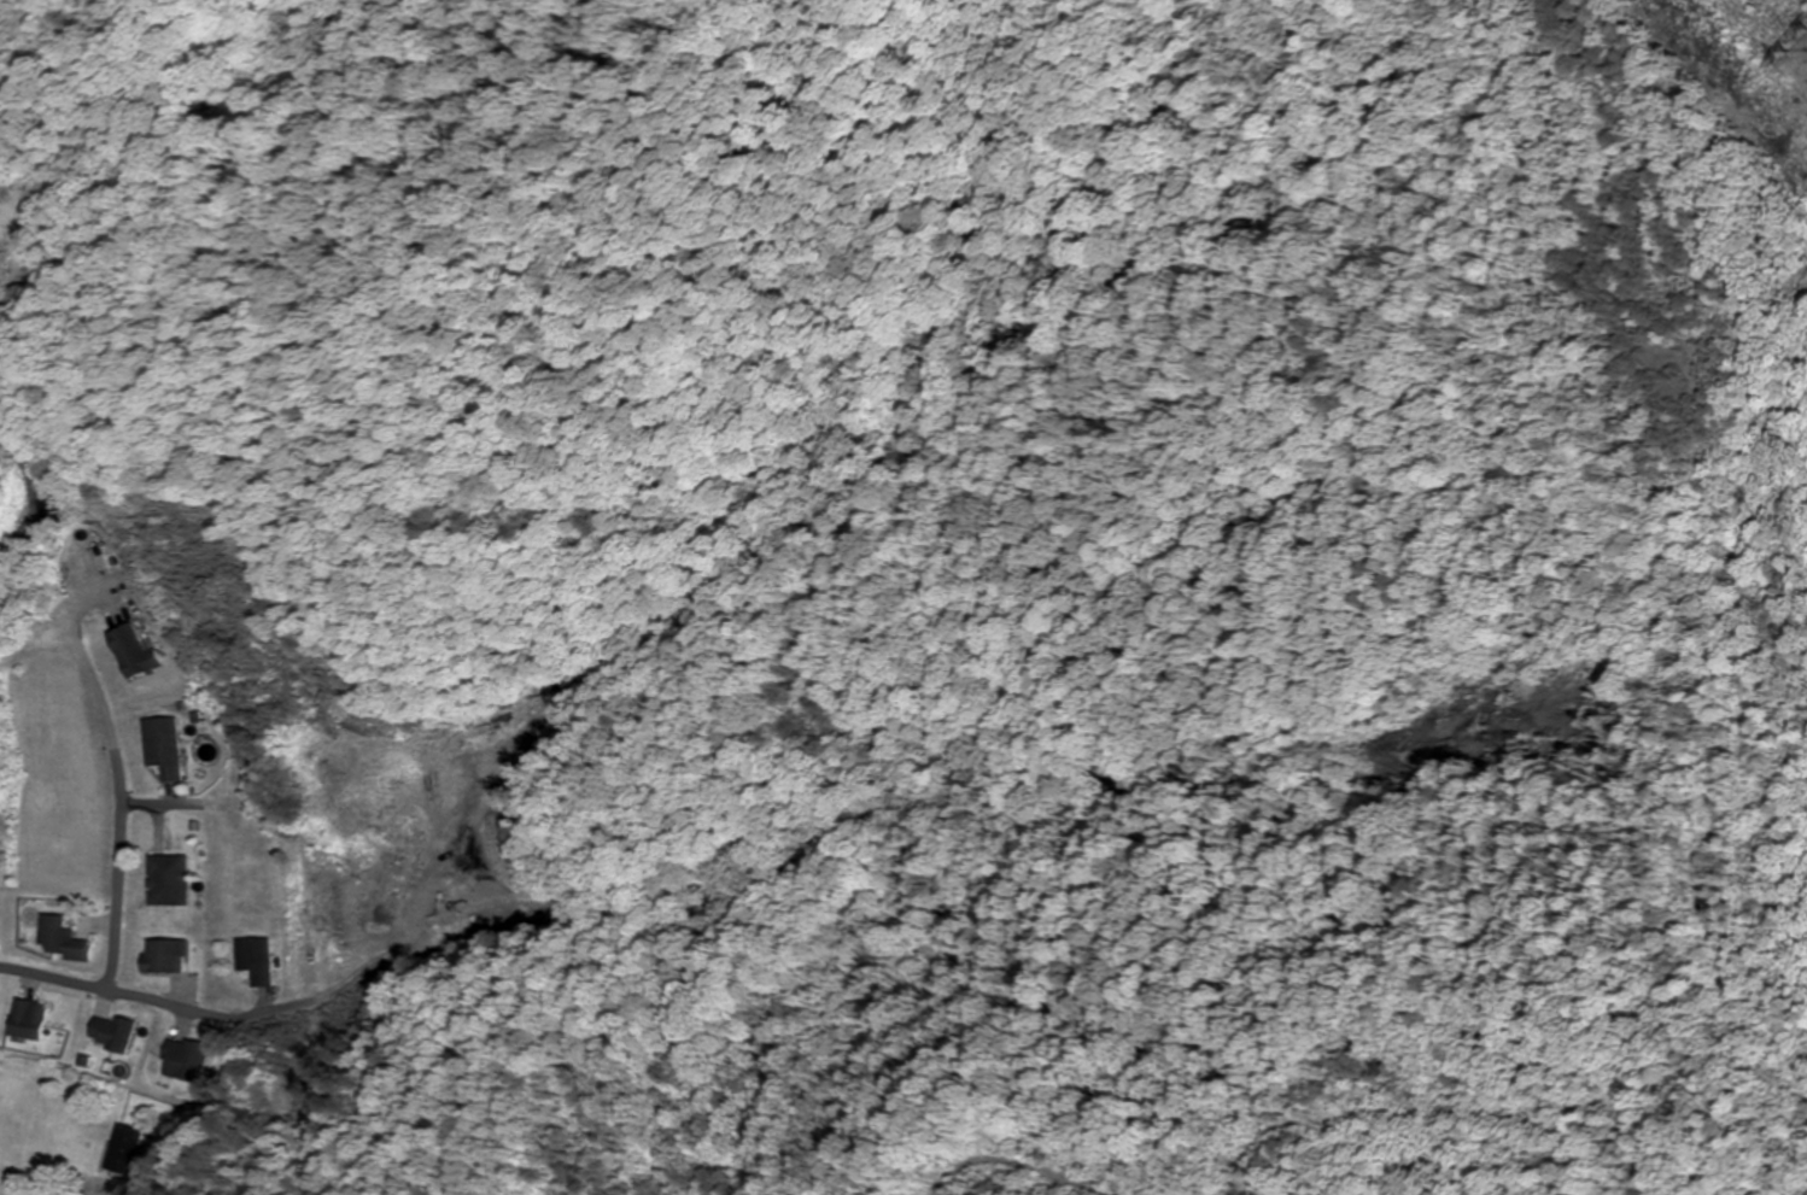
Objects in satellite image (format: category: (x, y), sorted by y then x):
power tower: (1786, 40)
building: (135, 651)
building: (165, 746)
building: (170, 879)
building: (62, 939)
building: (165, 956)
building: (256, 959)
building: (29, 1019)
building: (113, 1031)
building: (187, 1059)
road: (1498, 1105)
building: (127, 1149)
road: (1131, 1175)

